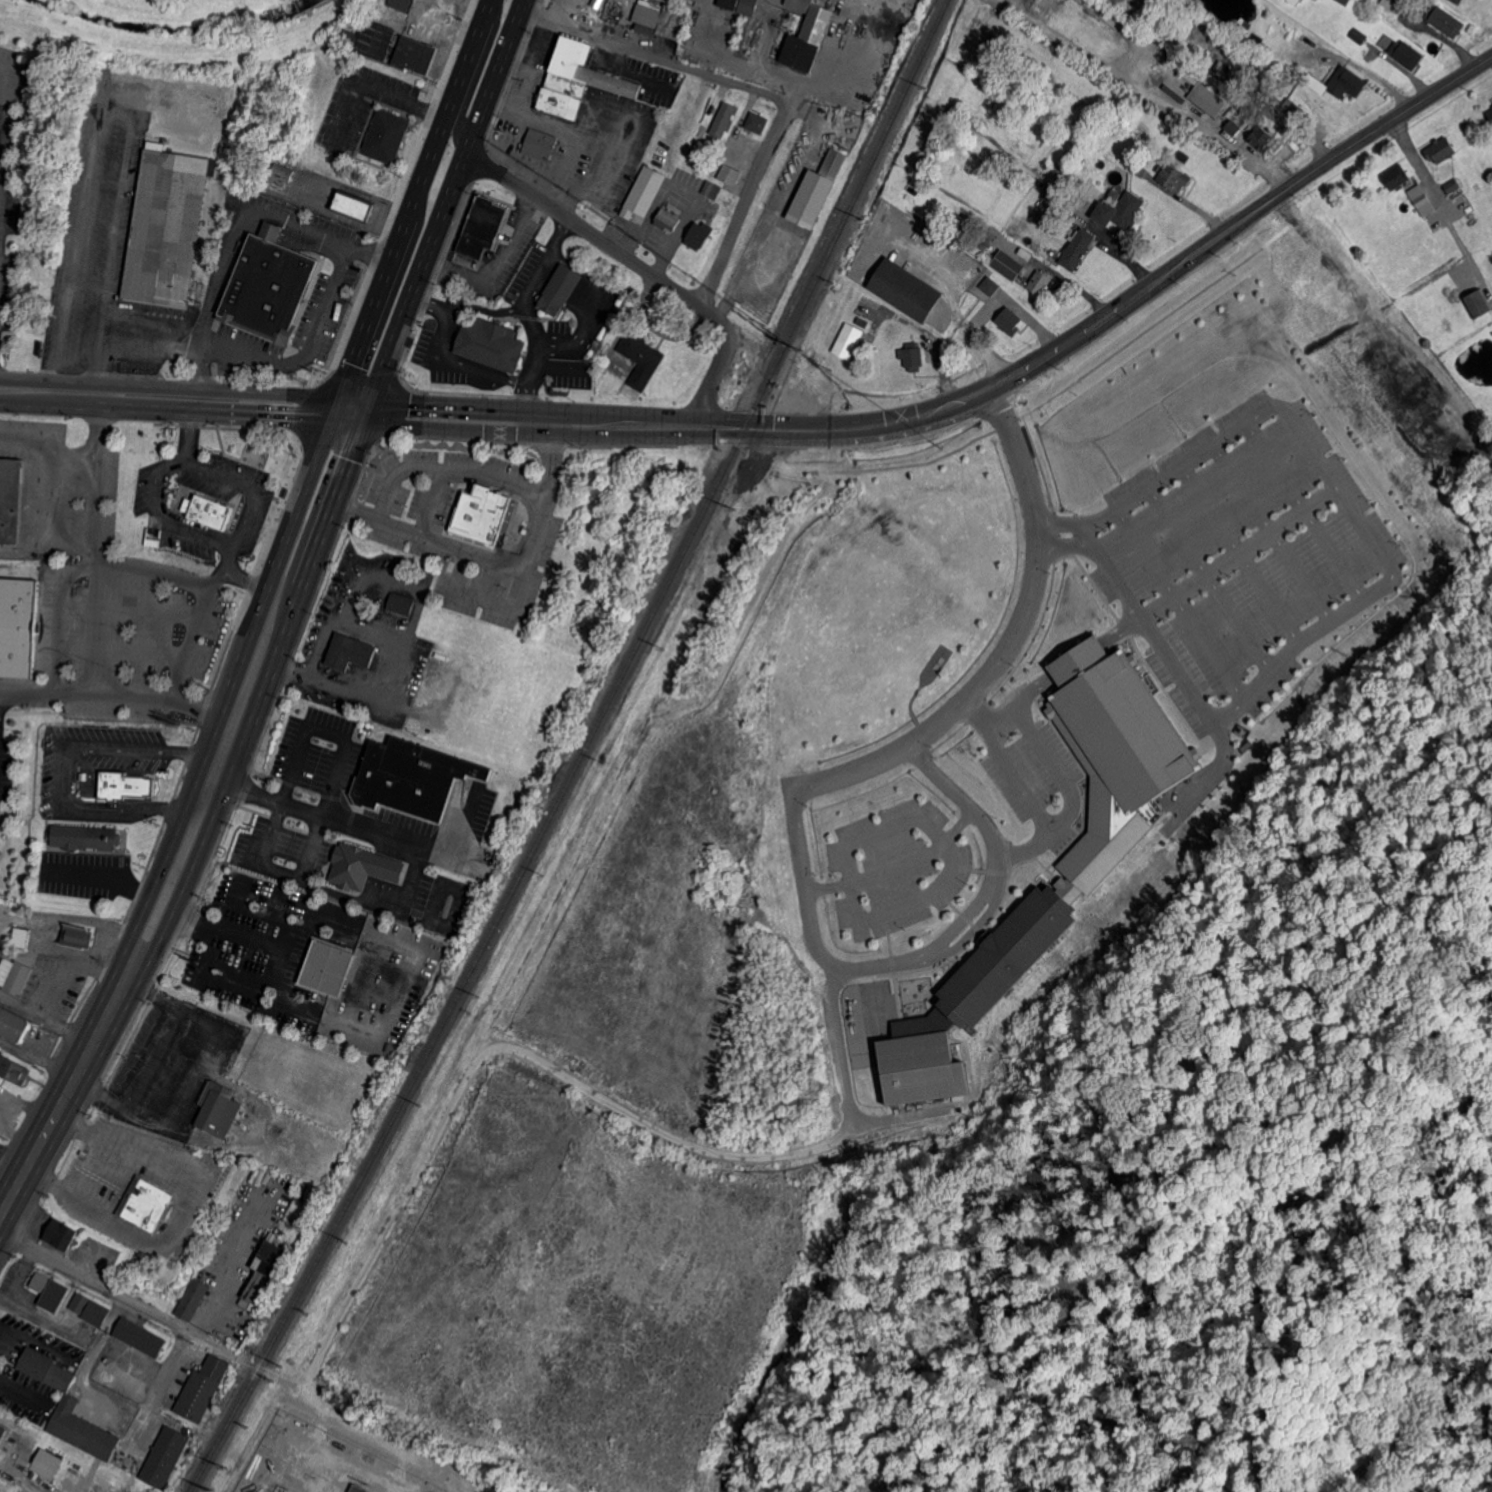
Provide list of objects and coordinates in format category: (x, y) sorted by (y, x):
building: (1293, 2)
building: (1457, 2)
building: (727, 3)
building: (1393, 4)
building: (402, 5)
building: (746, 6)
building: (1169, 15)
building: (658, 18)
building: (1242, 21)
building: (1443, 22)
building: (805, 35)
building: (1359, 36)
building: (1303, 37)
road: (471, 44)
building: (390, 45)
building: (1405, 55)
road: (691, 67)
building: (588, 68)
road: (475, 76)
building: (1345, 83)
building: (1241, 84)
building: (567, 85)
building: (1207, 99)
building: (1259, 100)
building: (560, 103)
building: (1293, 112)
building: (1490, 115)
building: (724, 119)
building: (757, 124)
building: (1248, 129)
road: (564, 131)
road: (91, 133)
building: (387, 136)
road: (5, 137)
building: (731, 142)
road: (1233, 144)
building: (540, 145)
building: (1439, 151)
building: (1183, 155)
road: (2, 156)
building: (1121, 156)
road: (1414, 157)
building: (1140, 169)
building: (726, 172)
building: (283, 173)
building: (1174, 177)
building: (1395, 177)
building: (1408, 183)
building: (1076, 184)
building: (1452, 186)
road: (571, 189)
building: (710, 190)
building: (816, 192)
building: (643, 195)
building: (1420, 200)
road: (749, 203)
building: (355, 207)
building: (1121, 211)
building: (1044, 213)
building: (666, 220)
building: (167, 224)
building: (480, 227)
road: (238, 232)
building: (698, 236)
road: (393, 248)
building: (1078, 249)
building: (1023, 257)
building: (1006, 264)
road: (495, 266)
road: (642, 267)
road: (748, 269)
road: (536, 276)
building: (1040, 282)
building: (989, 285)
building: (269, 286)
building: (559, 289)
road: (589, 290)
building: (904, 290)
road: (948, 296)
building: (1477, 302)
road: (440, 303)
road: (1015, 305)
road: (495, 307)
road: (147, 319)
building: (1010, 321)
road: (530, 322)
road: (441, 329)
road: (102, 332)
road: (1134, 335)
building: (846, 338)
building: (410, 341)
building: (492, 343)
road: (165, 349)
road: (388, 349)
road: (128, 350)
road: (187, 350)
road: (308, 352)
building: (911, 357)
building: (642, 358)
road: (480, 368)
road: (94, 372)
road: (526, 380)
building: (745, 383)
road: (474, 391)
road: (166, 400)
road: (962, 401)
traffic signals: (333, 410)
traffic signals: (366, 411)
road: (183, 428)
road: (528, 440)
road: (48, 444)
road: (917, 461)
road: (1037, 461)
road: (310, 468)
road: (242, 487)
building: (284, 491)
building: (11, 500)
road: (1303, 508)
building: (207, 511)
building: (481, 514)
road: (155, 517)
parking lot: (469, 524)
road: (1065, 524)
road: (1271, 529)
road: (1041, 531)
road: (1085, 532)
road: (1063, 540)
road: (1236, 551)
road: (1237, 551)
parking lot: (1238, 554)
road: (222, 556)
road: (501, 562)
road: (153, 568)
road: (1208, 574)
road: (1381, 581)
road: (57, 592)
road: (1178, 600)
building: (399, 603)
road: (256, 608)
building: (18, 626)
road: (1121, 628)
road: (197, 632)
road: (1007, 645)
building: (348, 651)
road: (1075, 657)
road: (1004, 677)
road: (1028, 688)
road: (26, 691)
road: (326, 730)
building: (1114, 751)
railway: (583, 753)
road: (1044, 753)
parking lot: (5, 767)
parking lot: (1029, 767)
road: (61, 769)
road: (1206, 775)
building: (411, 776)
road: (937, 776)
road: (192, 779)
parking lot: (58, 781)
building: (123, 784)
road: (1021, 787)
road: (329, 813)
road: (910, 814)
road: (210, 820)
building: (101, 839)
road: (1005, 852)
road: (894, 864)
road: (1043, 865)
building: (359, 867)
parking lot: (896, 867)
road: (987, 868)
road: (275, 869)
parking lot: (86, 874)
road: (102, 874)
road: (992, 897)
road: (372, 898)
road: (68, 918)
road: (956, 921)
road: (809, 929)
road: (228, 932)
road: (972, 934)
building: (21, 937)
building: (77, 939)
building: (325, 967)
building: (13, 977)
building: (217, 986)
road: (898, 993)
road: (105, 994)
road: (896, 995)
building: (972, 998)
road: (900, 1010)
building: (13, 1027)
road: (110, 1033)
building: (389, 1048)
road: (164, 1065)
building: (13, 1070)
road: (556, 1078)
building: (218, 1111)
road: (26, 1169)
building: (146, 1203)
road: (179, 1215)
building: (60, 1237)
road: (89, 1262)
building: (264, 1276)
building: (49, 1292)
road: (118, 1296)
building: (192, 1301)
building: (79, 1305)
building: (96, 1315)
building: (139, 1338)
building: (47, 1369)
road: (159, 1389)
building: (202, 1389)
road: (346, 1420)
building: (1, 1428)
building: (83, 1431)
building: (2, 1433)
building: (166, 1457)
power substation: (320, 1463)
power tower: (225, 1466)
building: (45, 1467)
building: (356, 1488)
power tower: (212, 1489)

